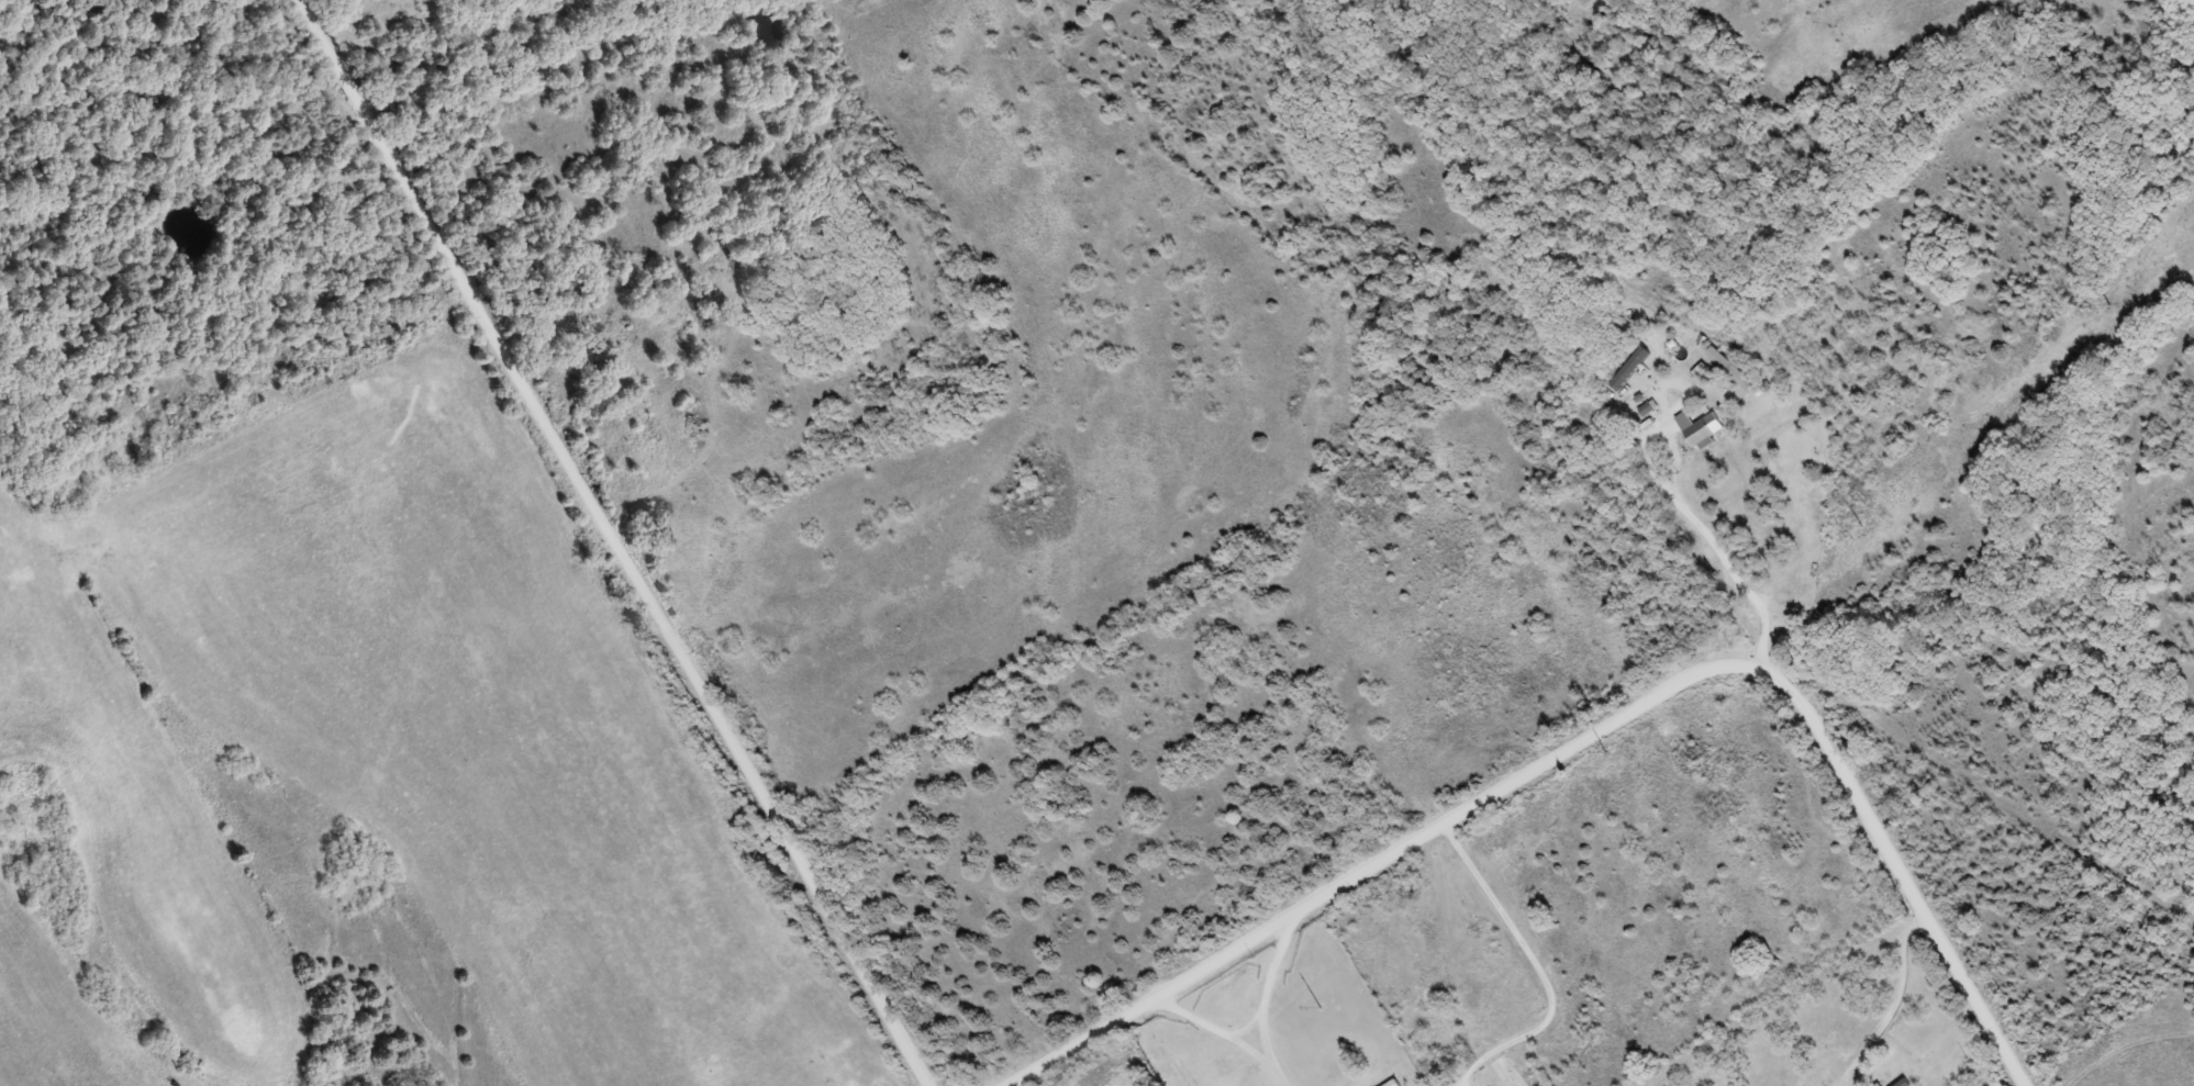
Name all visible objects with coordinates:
building: (1702, 429)
road: (621, 544)
road: (1601, 736)

